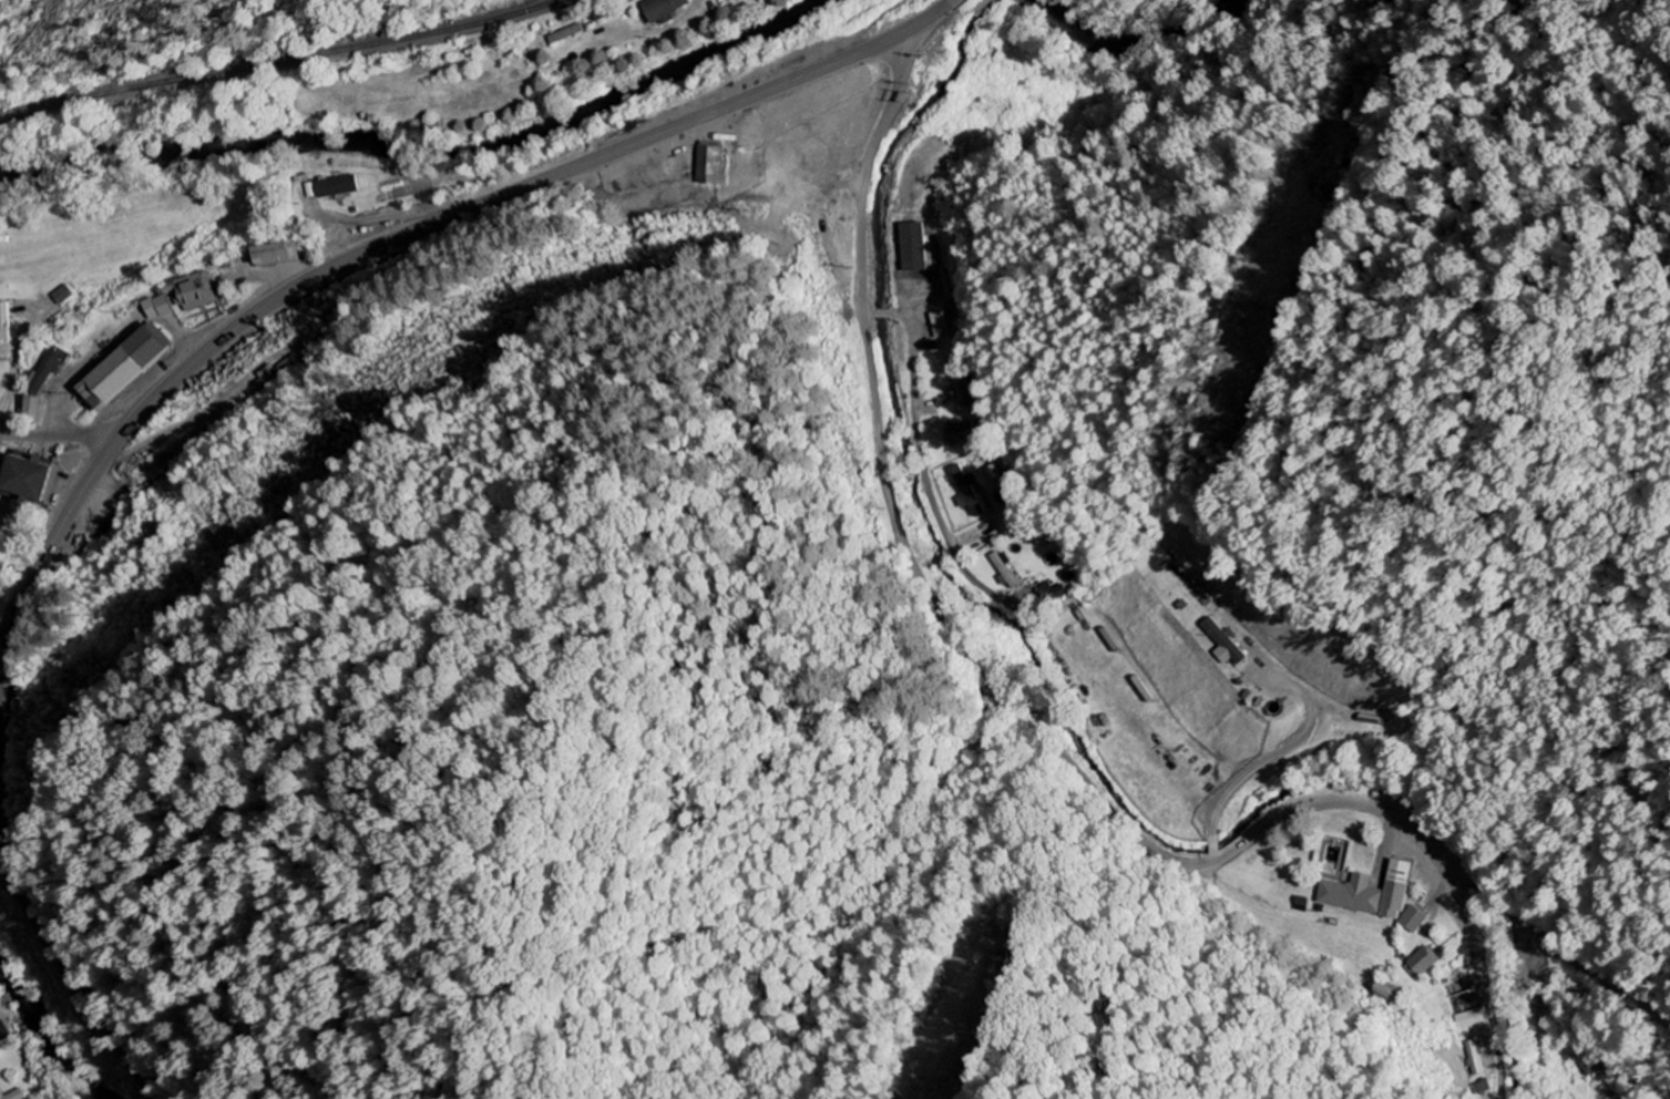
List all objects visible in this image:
building: (664, 10)
railway: (278, 60)
building: (711, 166)
building: (338, 188)
road: (387, 248)
building: (279, 256)
building: (195, 294)
building: (943, 301)
building: (161, 309)
building: (4, 323)
building: (127, 370)
building: (49, 372)
building: (959, 383)
road: (916, 404)
building: (33, 410)
building: (963, 434)
road: (60, 435)
building: (32, 481)
building: (969, 492)
building: (1005, 572)
building: (1058, 594)
building: (1226, 645)
road: (1029, 732)
building: (1374, 893)
building: (1414, 921)
road: (68, 958)
building: (1422, 964)
building: (1390, 996)
building: (1471, 1020)
building: (1474, 1058)
building: (1595, 1065)
building: (14, 1096)

